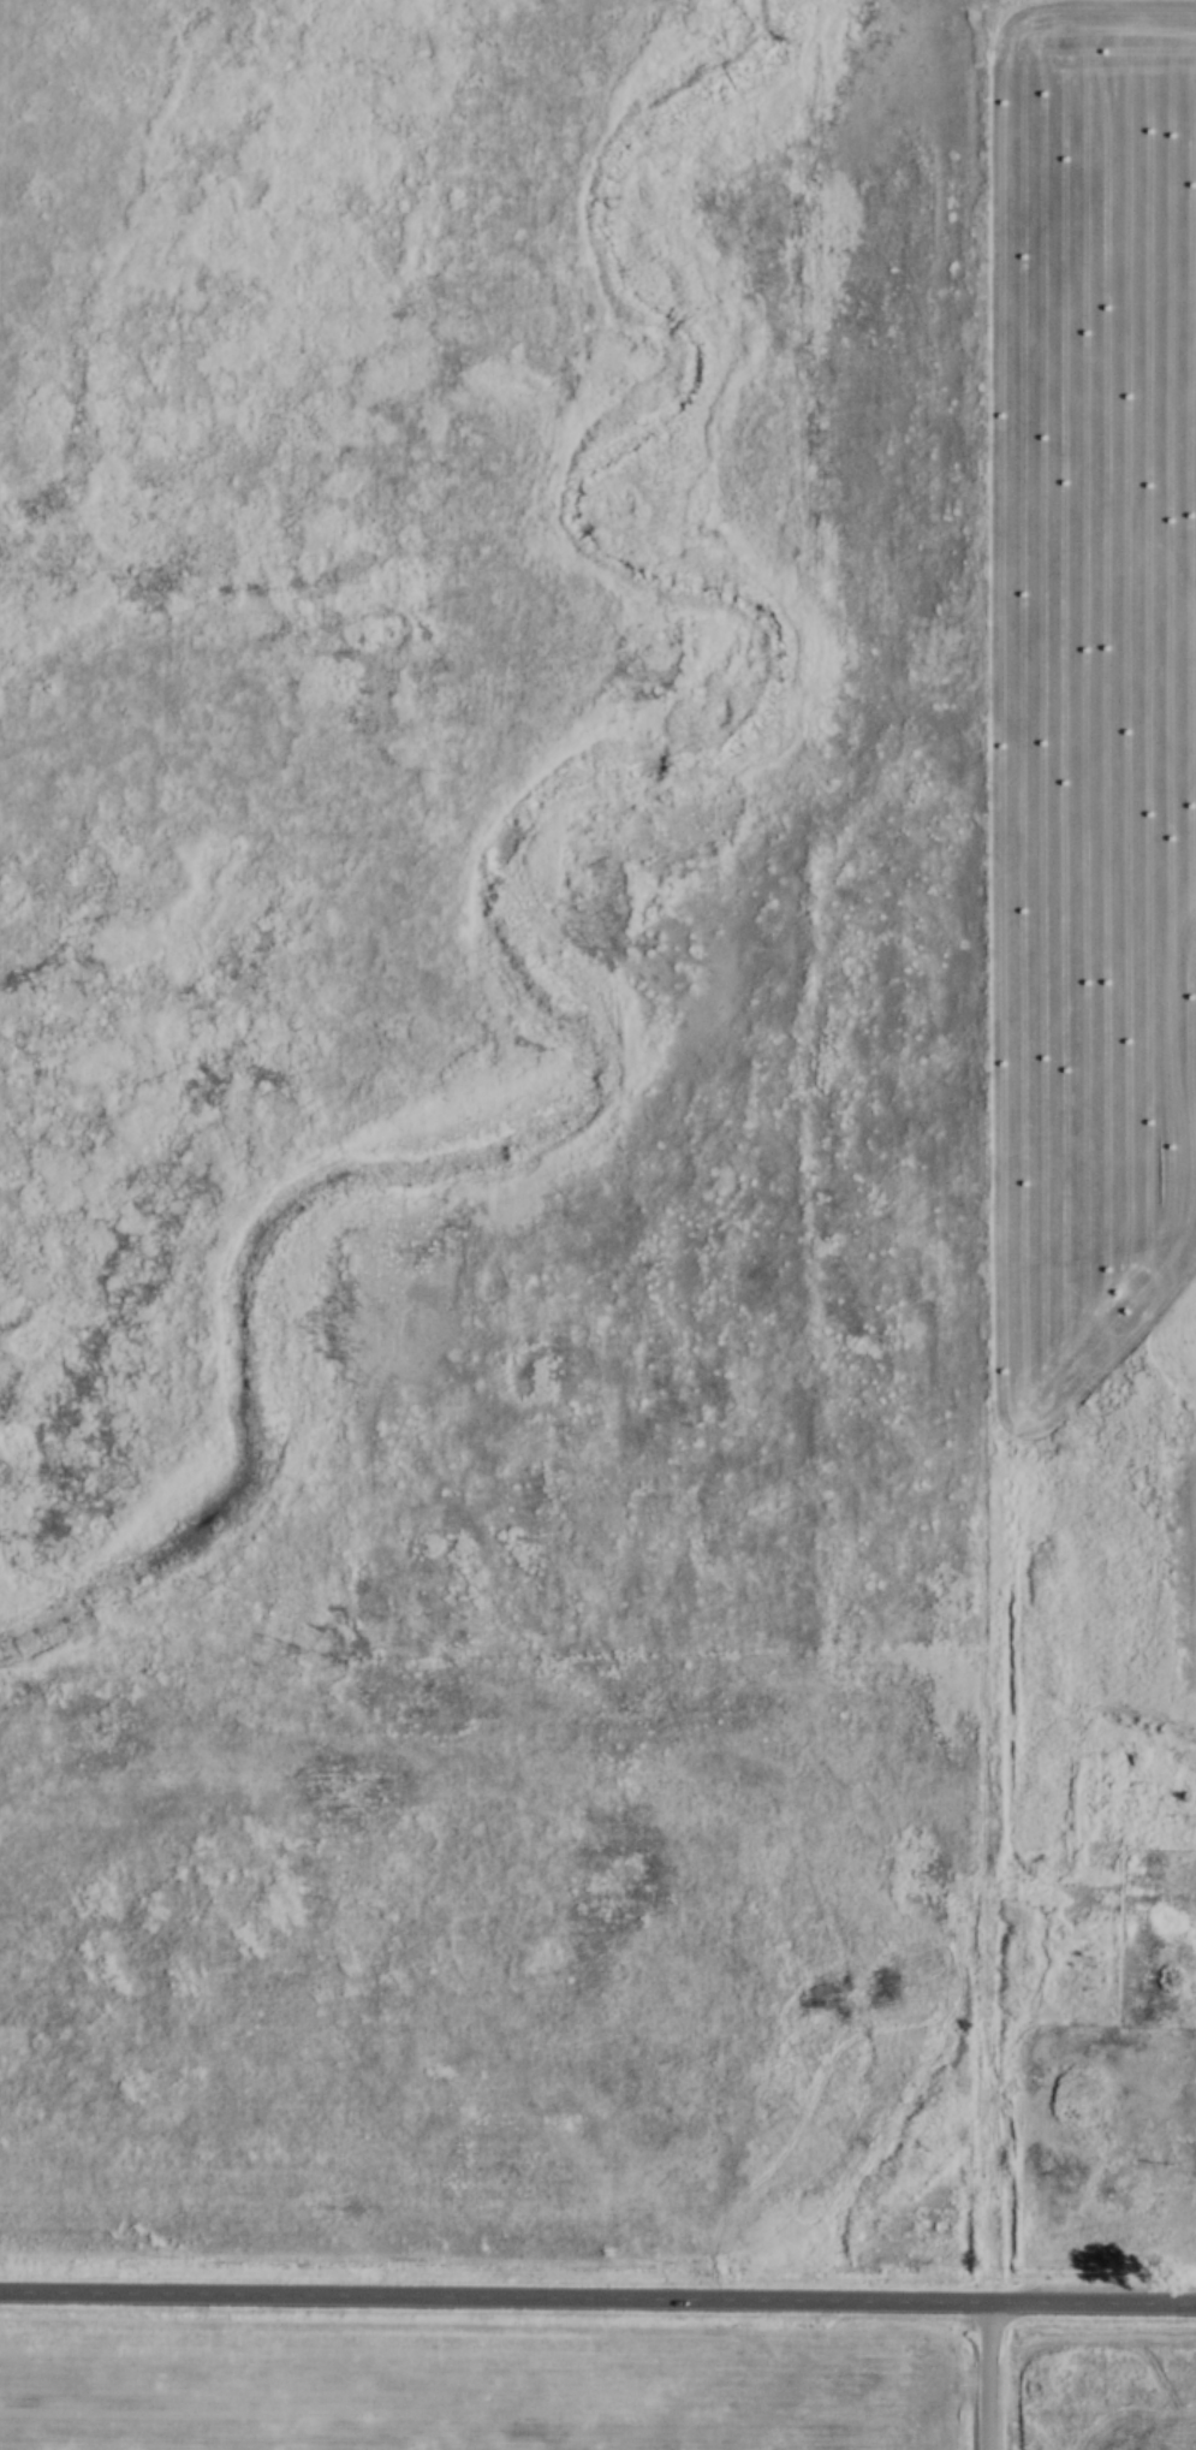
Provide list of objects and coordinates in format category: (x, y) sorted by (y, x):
road: (597, 2302)
road: (987, 2378)

